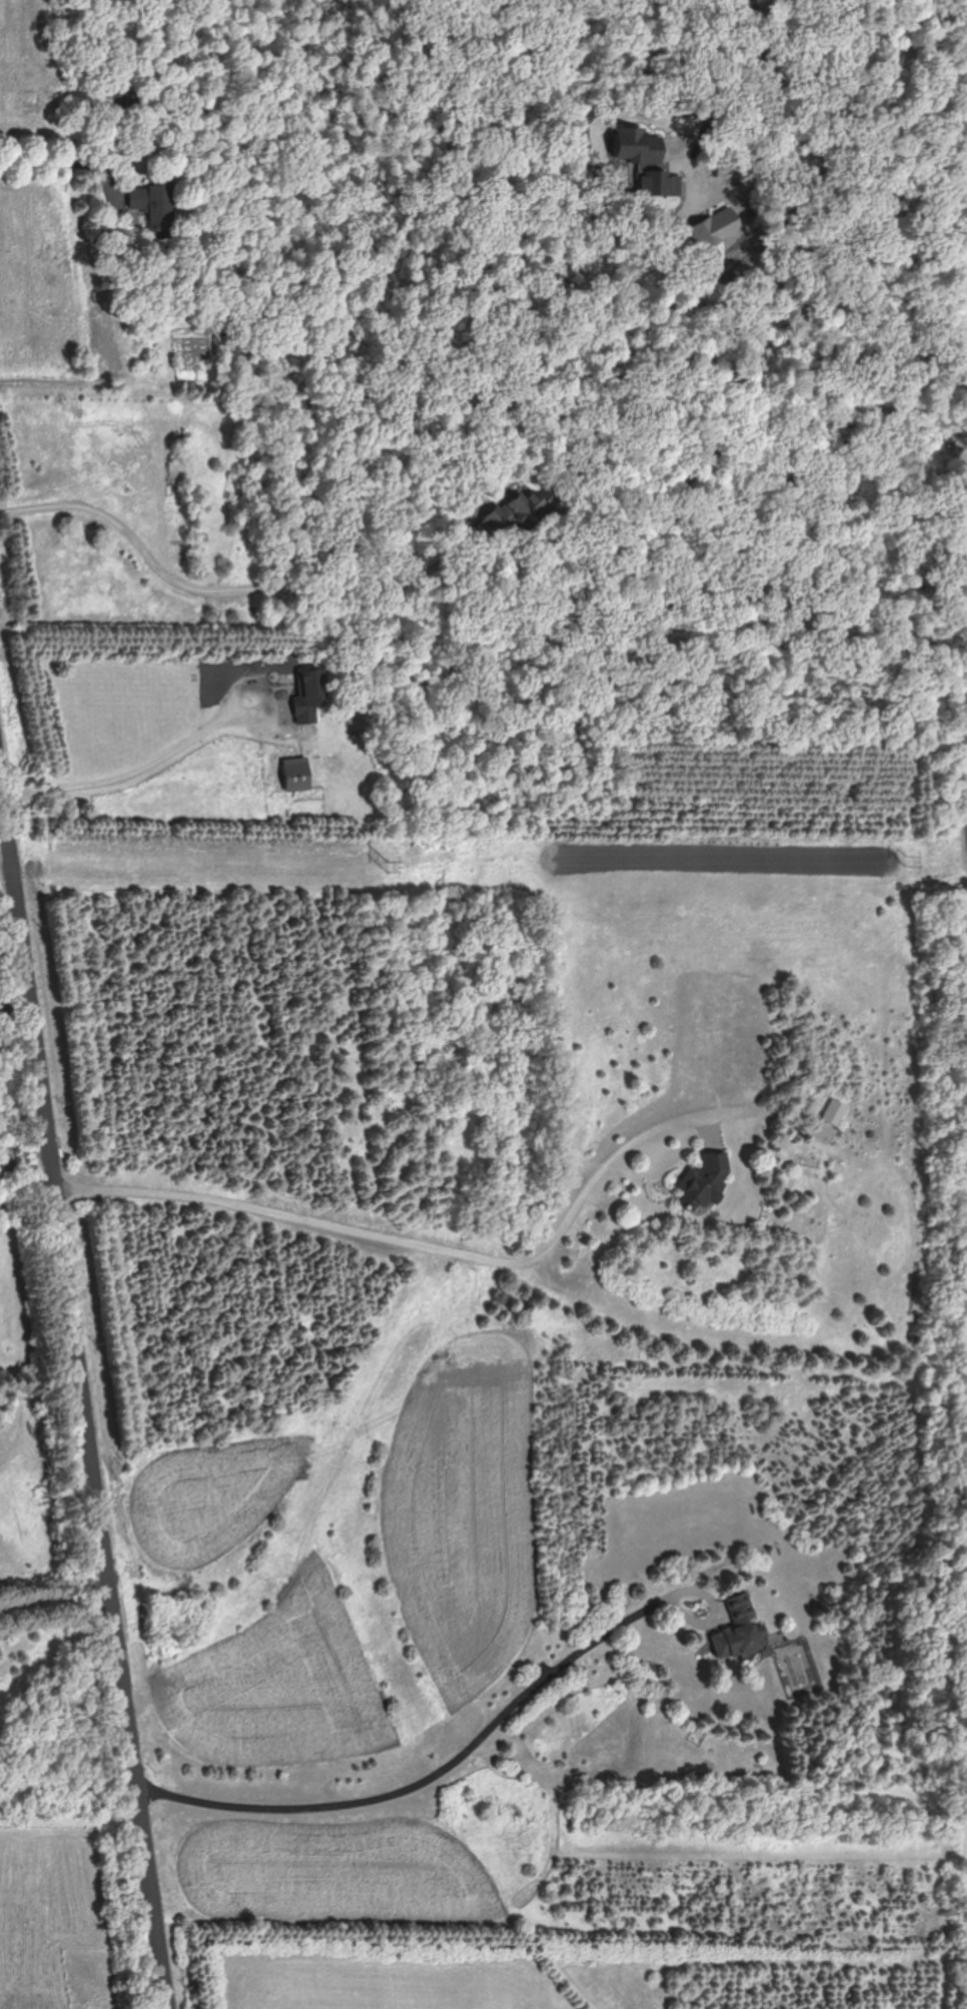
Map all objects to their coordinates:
road: (734, 72)
building: (120, 102)
road: (119, 145)
building: (637, 146)
building: (154, 199)
building: (526, 510)
road: (252, 594)
road: (252, 688)
building: (309, 694)
building: (297, 774)
road: (123, 775)
power tower: (909, 860)
power tower: (395, 865)
building: (835, 1110)
road: (36, 1152)
road: (11, 1153)
road: (11, 1165)
building: (705, 1177)
road: (413, 1236)
road: (81, 1379)
road: (54, 1601)
building: (739, 1628)
road: (451, 1766)

